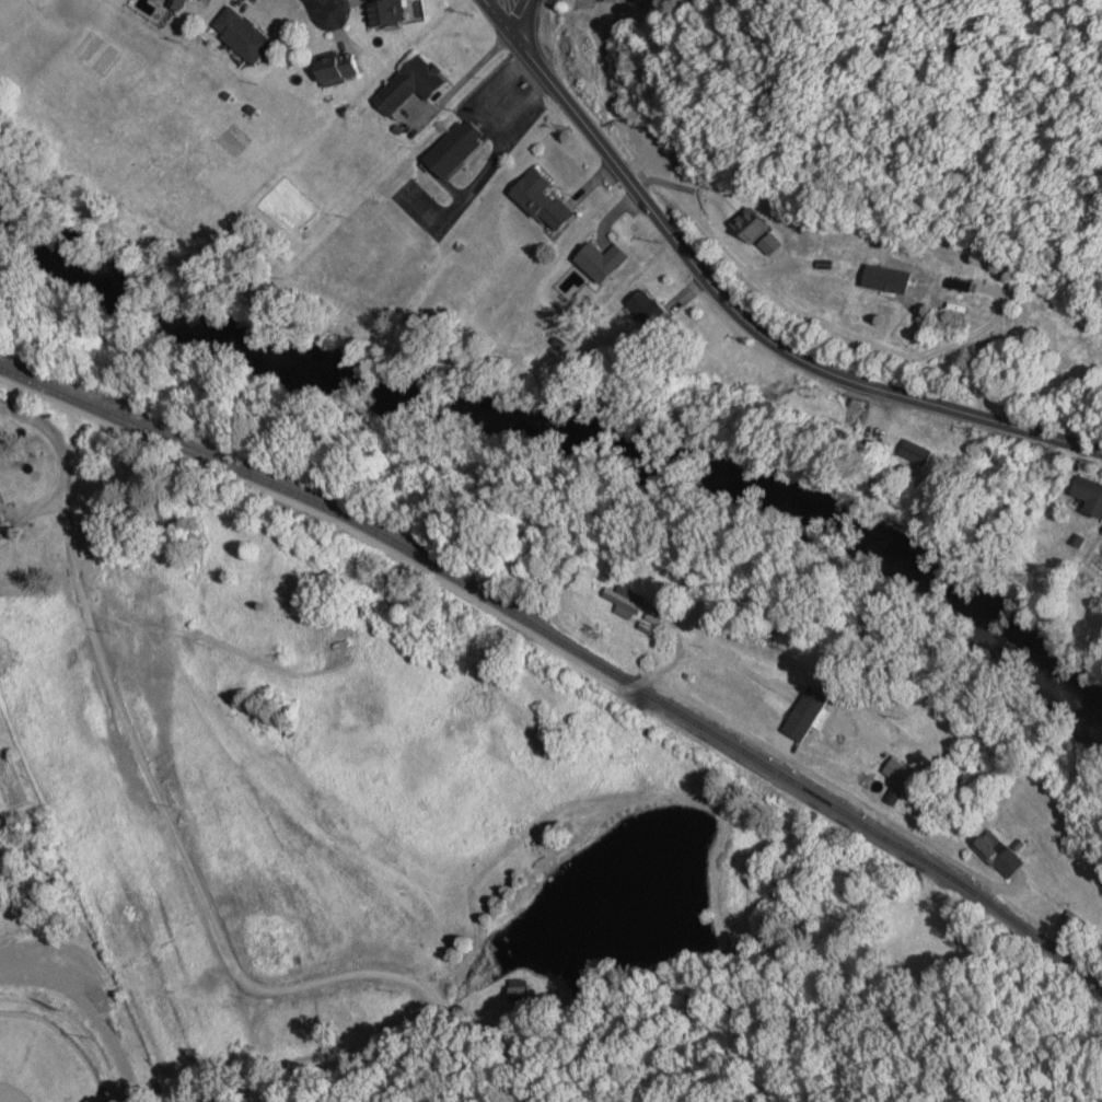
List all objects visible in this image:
road: (582, 2)
road: (317, 3)
building: (384, 13)
road: (515, 15)
building: (250, 34)
building: (344, 68)
building: (408, 83)
building: (451, 148)
building: (540, 201)
building: (757, 236)
building: (600, 262)
road: (734, 308)
building: (648, 309)
river: (571, 433)
building: (920, 454)
building: (1088, 495)
building: (5, 512)
building: (625, 600)
railway: (570, 647)
building: (800, 701)
building: (830, 722)
building: (895, 770)
building: (997, 854)

